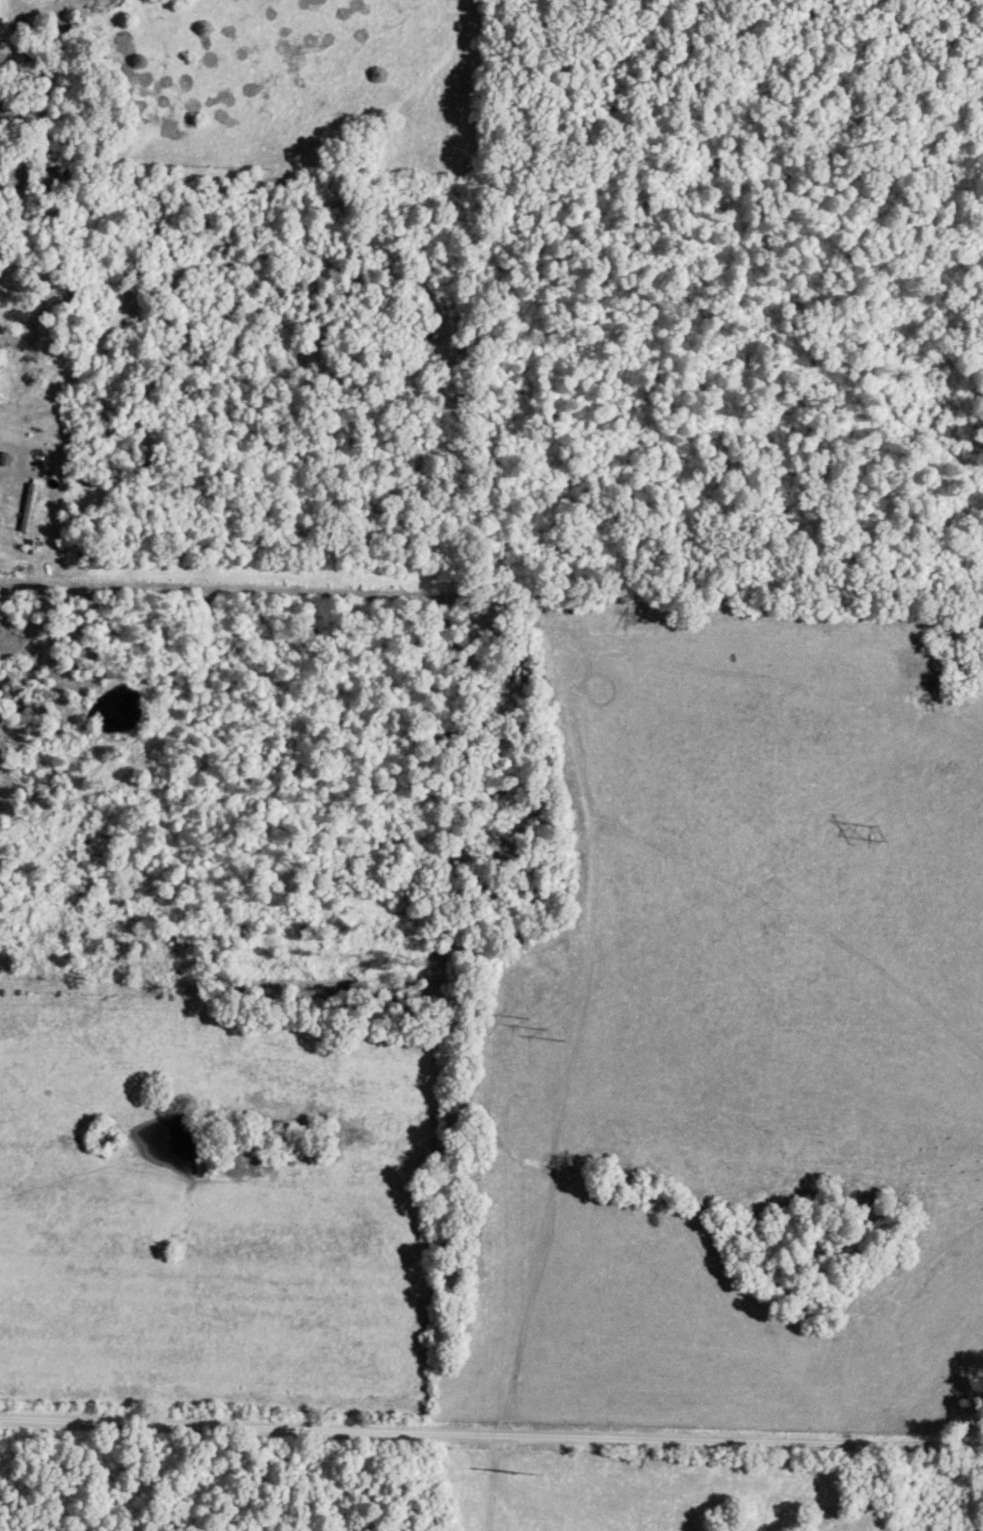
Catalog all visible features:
building: (564, 645)
power tower: (872, 835)
power tower: (538, 1029)
road: (491, 1439)
power tower: (516, 1470)

